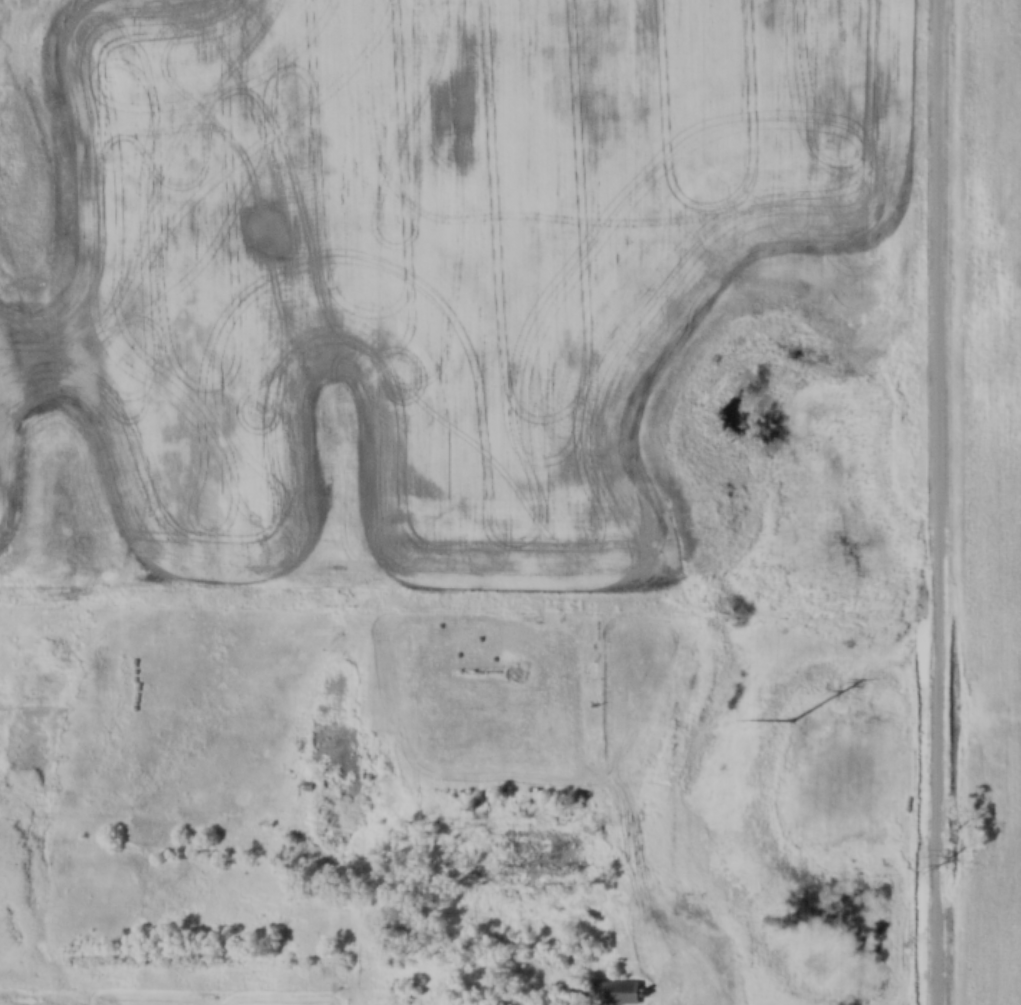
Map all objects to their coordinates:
road: (938, 502)
power tower: (805, 715)
building: (601, 991)

